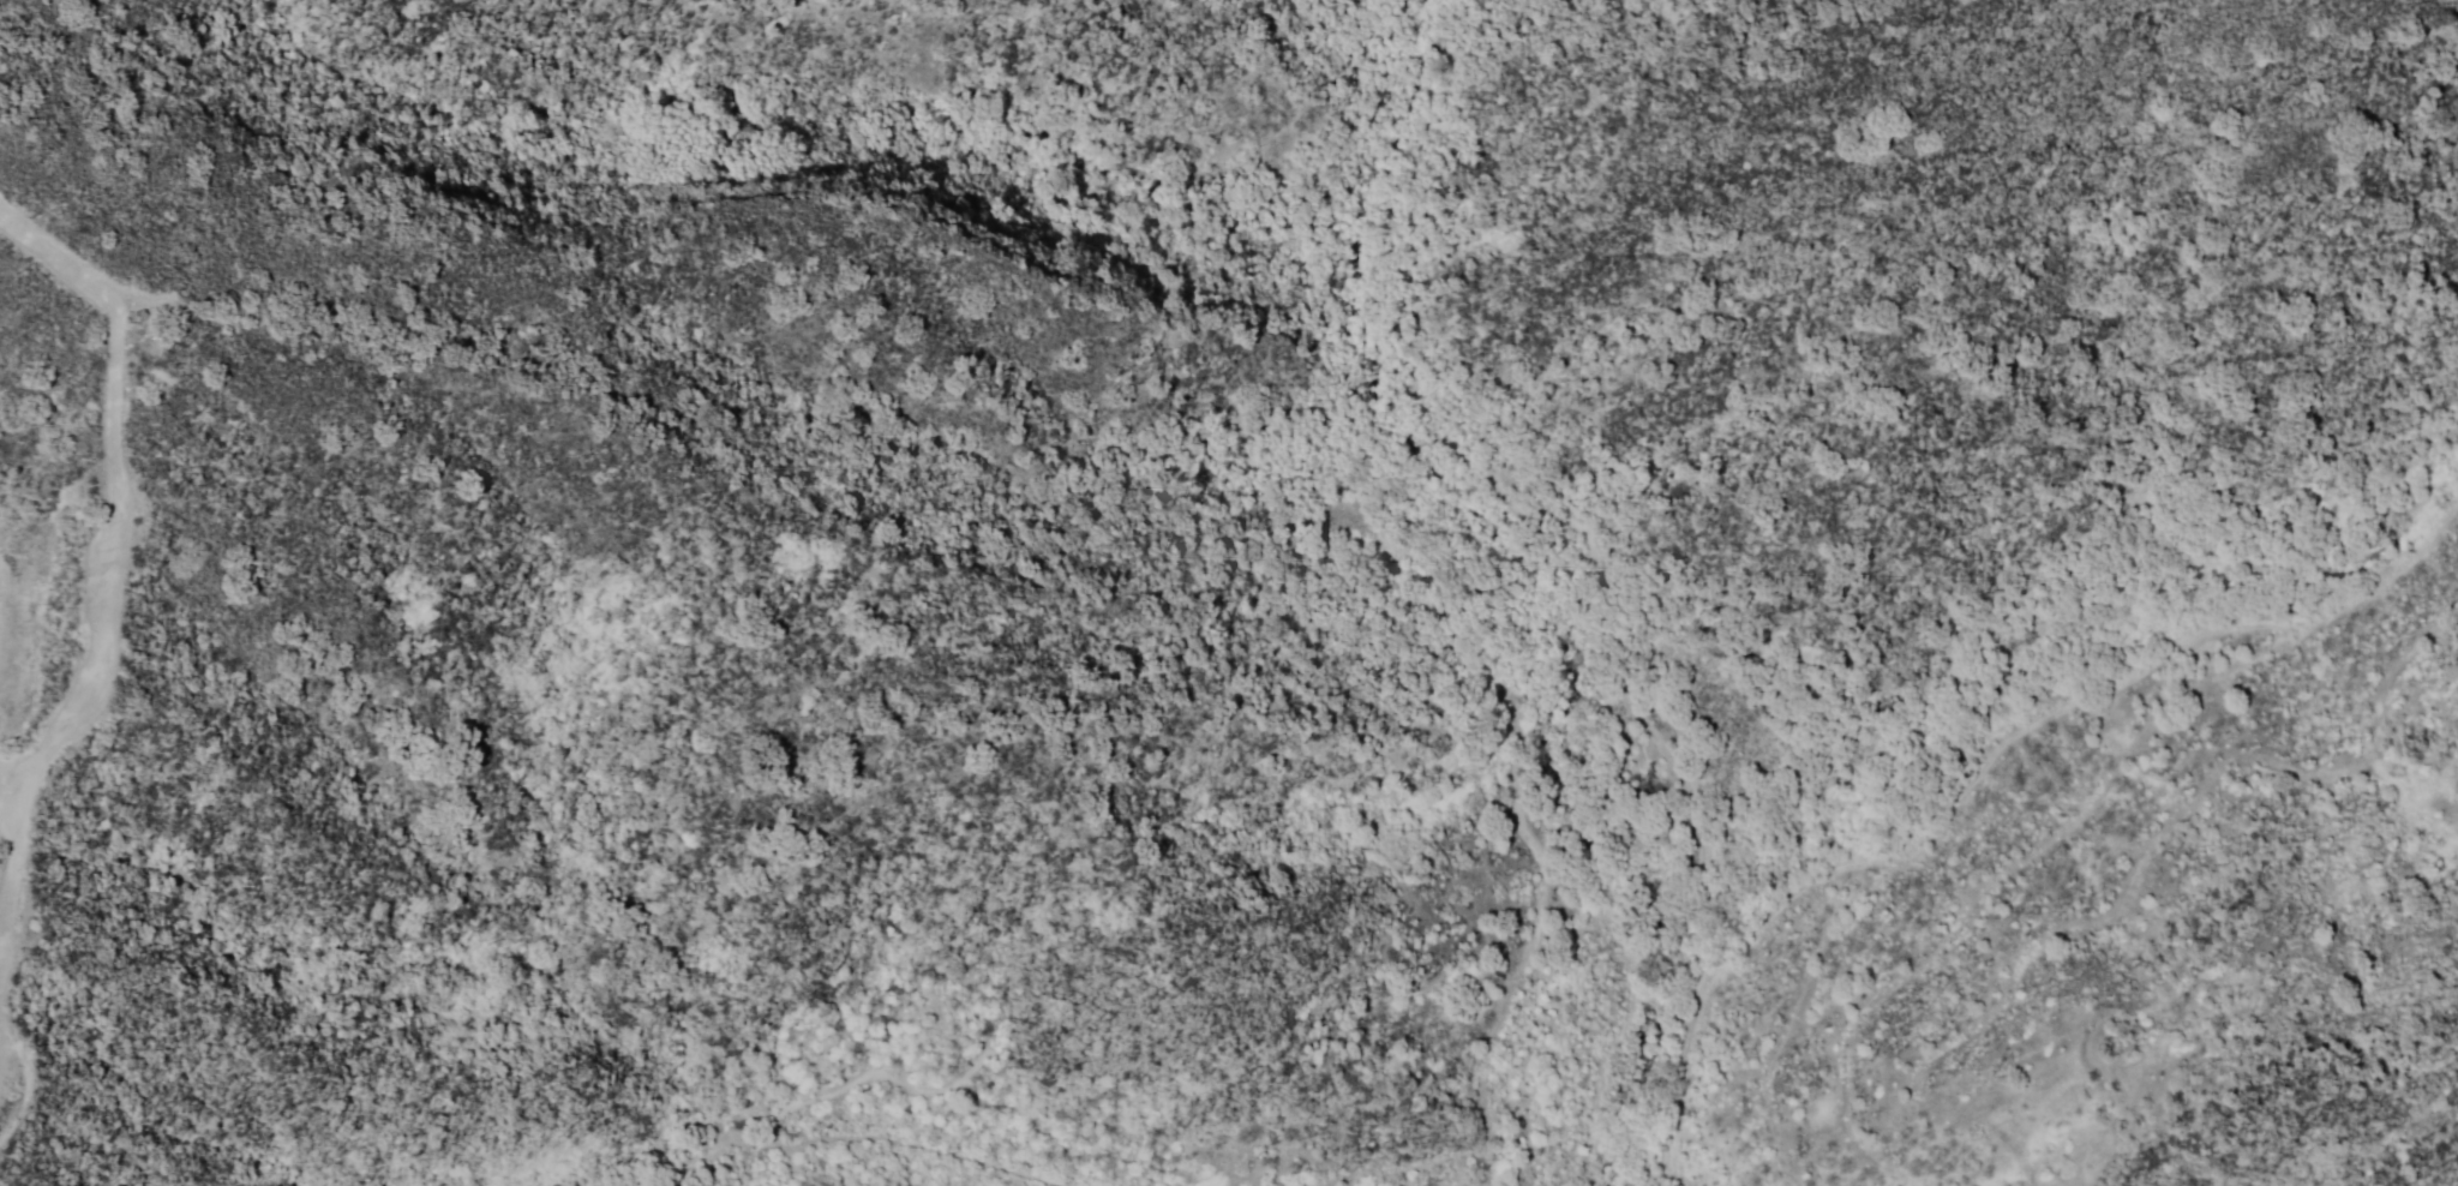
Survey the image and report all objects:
road: (1429, 401)
landfill: (24, 645)
road: (1615, 801)
road: (1698, 960)
road: (1615, 1020)

